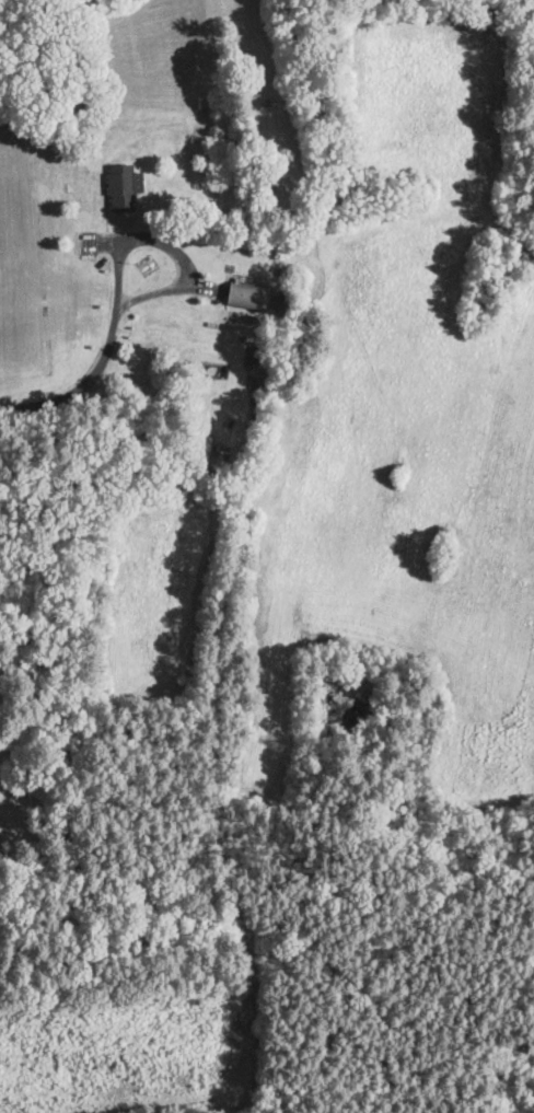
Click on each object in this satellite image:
building: (126, 189)
road: (170, 247)
building: (256, 298)
road: (80, 385)

